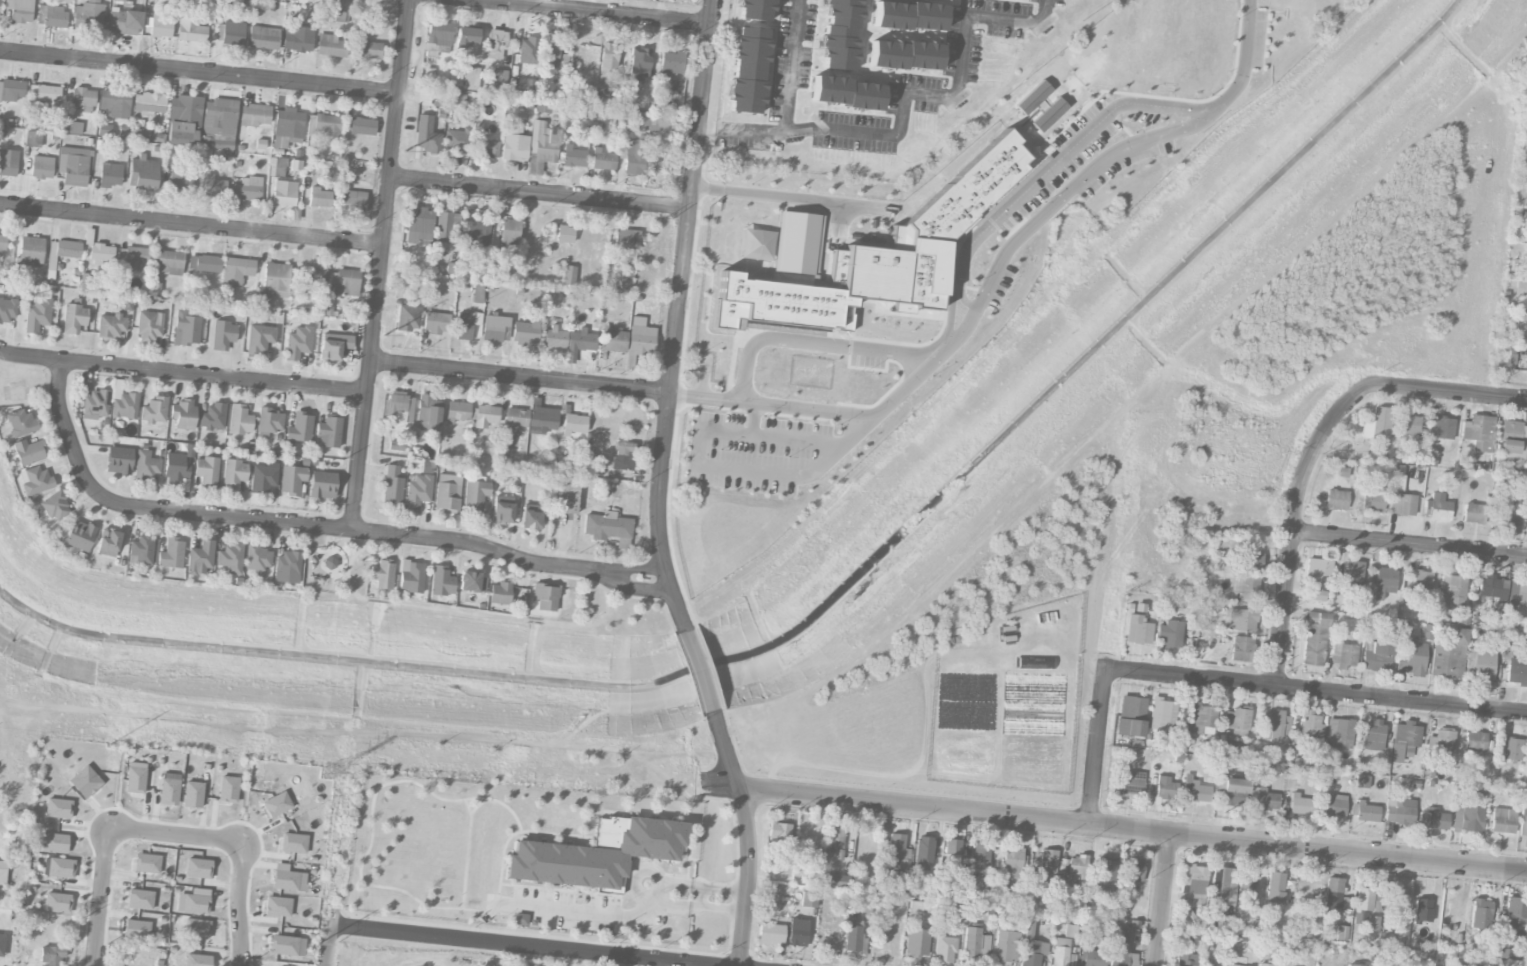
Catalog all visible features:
building: (118, 1)
building: (19, 10)
building: (756, 10)
road: (590, 12)
building: (51, 16)
building: (908, 16)
building: (123, 22)
building: (160, 28)
building: (192, 31)
building: (232, 32)
building: (841, 35)
building: (466, 36)
building: (438, 37)
building: (263, 38)
building: (297, 39)
building: (330, 47)
building: (499, 47)
building: (370, 50)
building: (528, 51)
building: (551, 52)
building: (608, 56)
building: (904, 56)
building: (640, 63)
building: (671, 63)
road: (1245, 63)
road: (790, 66)
building: (748, 71)
road: (199, 72)
building: (471, 79)
building: (498, 81)
building: (11, 90)
building: (846, 93)
building: (45, 99)
building: (82, 100)
building: (115, 103)
building: (148, 103)
road: (904, 104)
building: (254, 115)
building: (219, 117)
building: (183, 119)
building: (652, 120)
building: (323, 125)
building: (362, 126)
building: (287, 128)
building: (426, 136)
building: (32, 139)
building: (457, 142)
building: (514, 144)
building: (541, 146)
building: (489, 149)
power tower: (405, 151)
building: (633, 155)
building: (574, 157)
building: (603, 160)
building: (8, 163)
building: (73, 166)
building: (41, 167)
building: (276, 168)
building: (142, 174)
building: (110, 175)
road: (1039, 176)
building: (179, 182)
building: (214, 187)
building: (284, 193)
road: (541, 195)
building: (319, 198)
road: (790, 199)
building: (353, 201)
road: (1055, 201)
road: (191, 226)
building: (419, 226)
building: (445, 228)
building: (509, 232)
building: (564, 234)
building: (478, 237)
building: (626, 240)
building: (2, 242)
building: (796, 243)
building: (64, 249)
building: (30, 251)
building: (135, 258)
building: (878, 258)
building: (167, 263)
building: (204, 263)
road: (380, 265)
building: (235, 271)
building: (312, 275)
building: (568, 275)
building: (276, 280)
building: (86, 281)
building: (346, 283)
building: (261, 302)
building: (7, 310)
building: (37, 316)
road: (678, 316)
building: (407, 318)
building: (74, 319)
building: (436, 323)
building: (464, 325)
building: (110, 326)
building: (149, 326)
building: (186, 329)
building: (494, 329)
building: (524, 333)
building: (223, 335)
power tower: (384, 336)
building: (259, 338)
building: (554, 338)
building: (640, 338)
building: (613, 341)
road: (813, 342)
building: (298, 343)
building: (1526, 343)
building: (578, 344)
building: (333, 346)
building: (1526, 366)
road: (183, 372)
road: (520, 378)
road: (1449, 392)
building: (94, 405)
building: (125, 406)
building: (399, 407)
building: (154, 411)
road: (823, 411)
building: (458, 412)
building: (182, 415)
building: (427, 415)
building: (486, 416)
building: (212, 417)
building: (515, 418)
building: (239, 420)
building: (542, 420)
building: (269, 421)
building: (20, 423)
building: (574, 424)
building: (1376, 425)
building: (299, 428)
building: (327, 433)
building: (1478, 433)
building: (1511, 439)
building: (28, 452)
building: (1526, 454)
building: (622, 456)
building: (118, 461)
building: (146, 465)
building: (176, 472)
building: (207, 472)
building: (1397, 473)
building: (233, 474)
building: (263, 477)
building: (291, 480)
building: (34, 481)
building: (321, 485)
building: (392, 485)
building: (417, 492)
building: (447, 493)
building: (475, 495)
building: (565, 498)
building: (1372, 499)
building: (1335, 500)
building: (1401, 504)
building: (54, 507)
building: (1436, 508)
building: (501, 511)
building: (1507, 511)
building: (1474, 514)
building: (530, 520)
road: (1293, 523)
road: (310, 526)
building: (606, 526)
building: (79, 536)
building: (108, 543)
road: (1409, 544)
building: (140, 550)
building: (170, 554)
building: (230, 558)
building: (257, 558)
building: (200, 559)
building: (1252, 561)
power tower: (359, 562)
building: (329, 563)
building: (286, 568)
building: (1318, 570)
building: (382, 574)
building: (411, 577)
building: (1352, 577)
building: (441, 582)
building: (472, 582)
building: (1384, 583)
building: (1421, 585)
building: (1245, 586)
building: (1491, 588)
building: (1452, 590)
building: (499, 594)
building: (1319, 596)
building: (545, 597)
building: (1521, 598)
building: (1241, 621)
building: (1138, 631)
building: (1427, 632)
building: (1169, 635)
building: (1314, 639)
building: (1240, 649)
building: (1447, 653)
building: (1343, 655)
building: (1376, 657)
building: (1409, 658)
building: (1480, 666)
building: (1516, 671)
road: (698, 673)
road: (1317, 690)
building: (1163, 715)
building: (1130, 717)
building: (1202, 720)
building: (1237, 721)
building: (1310, 725)
building: (1274, 727)
building: (1373, 733)
building: (1404, 741)
building: (1441, 741)
building: (1476, 742)
power tower: (109, 744)
road: (1099, 746)
building: (1371, 746)
building: (1235, 747)
building: (1306, 749)
building: (1509, 749)
power tower: (329, 772)
building: (86, 780)
building: (135, 780)
building: (1362, 782)
building: (1131, 783)
building: (228, 789)
building: (1165, 789)
building: (1195, 791)
building: (168, 792)
building: (1233, 792)
building: (192, 795)
building: (1267, 801)
building: (276, 805)
building: (1298, 805)
building: (1334, 805)
building: (58, 809)
building: (1399, 811)
building: (1367, 812)
building: (1473, 814)
building: (1432, 819)
building: (1502, 821)
road: (1113, 827)
building: (1526, 829)
building: (779, 831)
road: (174, 837)
road: (749, 838)
building: (54, 843)
building: (293, 843)
building: (835, 844)
building: (897, 847)
building: (951, 852)
building: (596, 854)
building: (922, 854)
building: (980, 857)
building: (1047, 862)
building: (147, 864)
building: (60, 868)
building: (198, 869)
building: (1076, 870)
building: (1131, 870)
building: (2, 873)
building: (1106, 874)
building: (285, 880)
building: (834, 881)
building: (1304, 883)
building: (1193, 884)
building: (1246, 884)
building: (1223, 886)
road: (698, 887)
building: (1275, 887)
building: (1334, 891)
road: (100, 898)
building: (809, 899)
building: (140, 900)
road: (1163, 900)
building: (1366, 900)
building: (57, 903)
building: (195, 905)
road: (238, 905)
building: (277, 907)
road: (697, 907)
building: (1422, 910)
road: (578, 912)
building: (1516, 912)
building: (1480, 914)
building: (520, 920)
building: (1372, 925)
building: (196, 929)
building: (136, 930)
building: (1096, 931)
building: (797, 933)
building: (1341, 933)
building: (770, 934)
building: (852, 936)
power tower: (316, 941)
building: (916, 943)
building: (975, 944)
building: (2, 945)
building: (283, 945)
road: (326, 945)
road: (516, 945)
building: (944, 945)
building: (1031, 946)
building: (1006, 947)
building: (1120, 949)
building: (1059, 952)
building: (52, 955)
building: (1091, 958)
building: (197, 960)
building: (1185, 960)
building: (1232, 965)
building: (1267, 965)
building: (1353, 965)

